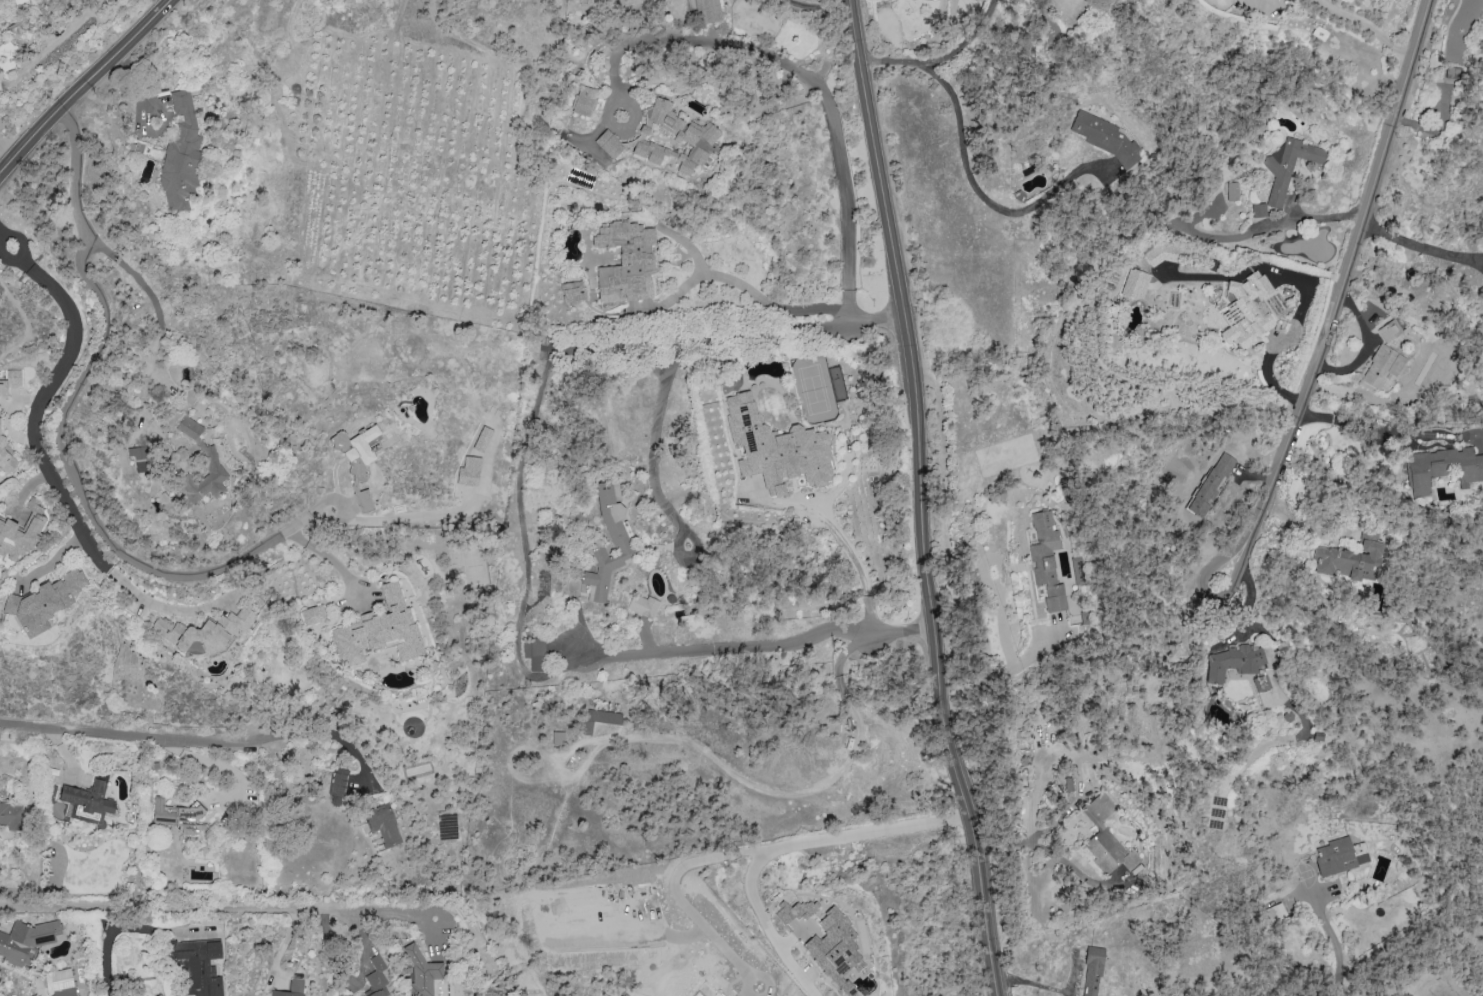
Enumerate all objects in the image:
road: (1080, 0)
road: (165, 7)
road: (818, 8)
building: (707, 10)
road: (1368, 26)
road: (939, 57)
building: (1451, 72)
road: (805, 76)
road: (78, 93)
building: (583, 100)
building: (1104, 136)
building: (665, 138)
park: (14, 151)
building: (181, 155)
road: (3, 157)
building: (1287, 166)
road: (976, 191)
building: (1231, 191)
building: (1258, 210)
road: (1314, 217)
road: (1420, 246)
road: (14, 250)
building: (1161, 252)
building: (625, 261)
building: (1134, 283)
road: (5, 288)
building: (571, 291)
road: (1339, 301)
road: (773, 304)
building: (1247, 310)
road: (28, 329)
building: (1389, 330)
road: (155, 334)
road: (691, 342)
building: (1381, 366)
building: (10, 380)
park: (814, 390)
road: (35, 411)
building: (189, 427)
road: (1378, 433)
road: (58, 437)
building: (482, 438)
building: (356, 448)
building: (775, 449)
building: (5, 456)
building: (139, 457)
building: (1441, 468)
building: (468, 471)
building: (203, 480)
building: (1209, 485)
road: (923, 498)
building: (21, 532)
building: (1351, 556)
building: (1046, 560)
road: (856, 566)
road: (996, 590)
building: (44, 601)
road: (161, 605)
building: (642, 605)
building: (312, 614)
road: (1169, 620)
building: (378, 629)
building: (203, 631)
building: (534, 652)
road: (520, 656)
building: (1232, 662)
road: (1001, 671)
building: (1260, 683)
building: (598, 719)
road: (124, 730)
road: (320, 732)
road: (261, 738)
building: (337, 786)
road: (791, 791)
building: (87, 802)
building: (11, 815)
building: (176, 815)
building: (382, 824)
building: (1105, 837)
road: (1032, 838)
road: (743, 852)
building: (1340, 855)
road: (1071, 867)
road: (208, 904)
building: (794, 911)
road: (767, 927)
road: (1411, 931)
road: (1330, 937)
building: (26, 940)
road: (106, 942)
building: (834, 949)
building: (421, 971)
building: (1092, 971)
building: (376, 976)
building: (61, 982)
building: (290, 988)
road: (1335, 993)

